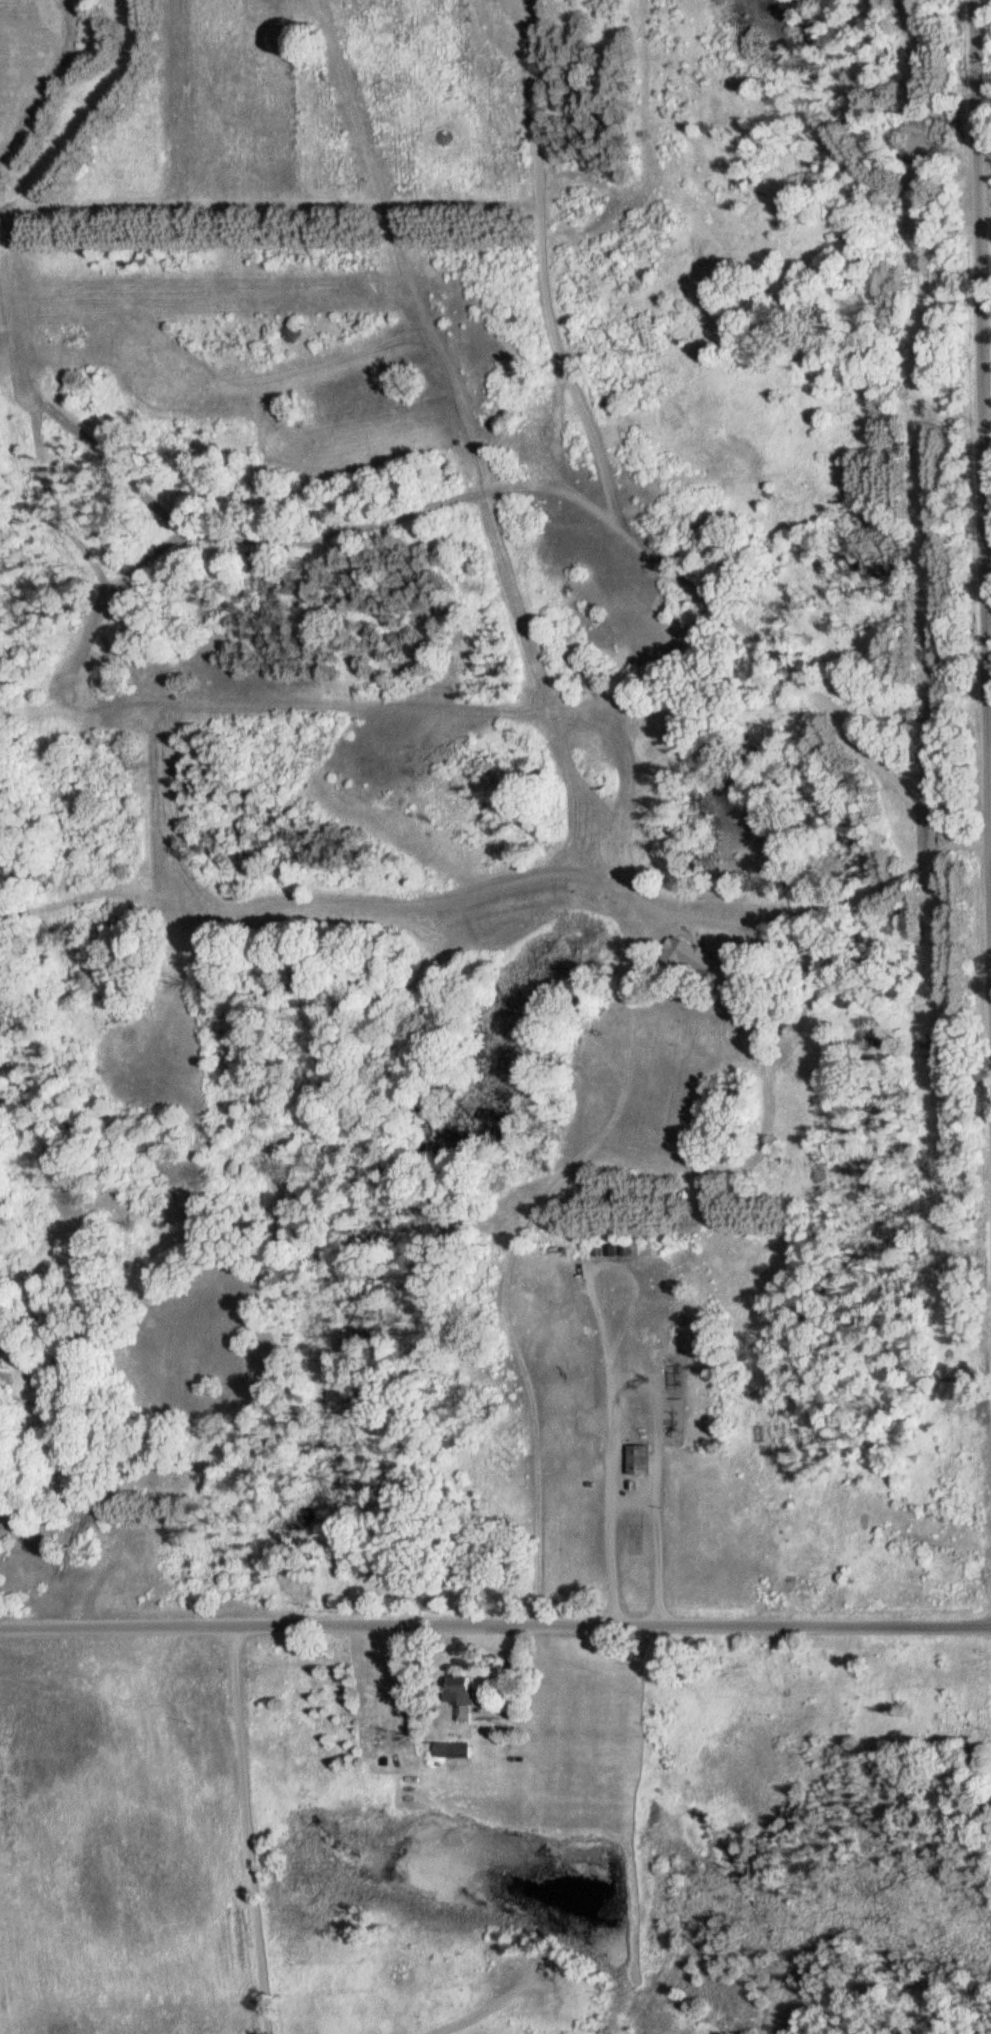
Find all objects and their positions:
road: (545, 274)
road: (984, 329)
road: (454, 500)
traffic signals: (232, 544)
road: (990, 567)
road: (571, 874)
road: (516, 1338)
road: (617, 1446)
building: (640, 1460)
road: (495, 1630)
building: (469, 1692)
building: (453, 1750)
road: (254, 1832)
petroleum well: (527, 1970)
road: (489, 2005)

